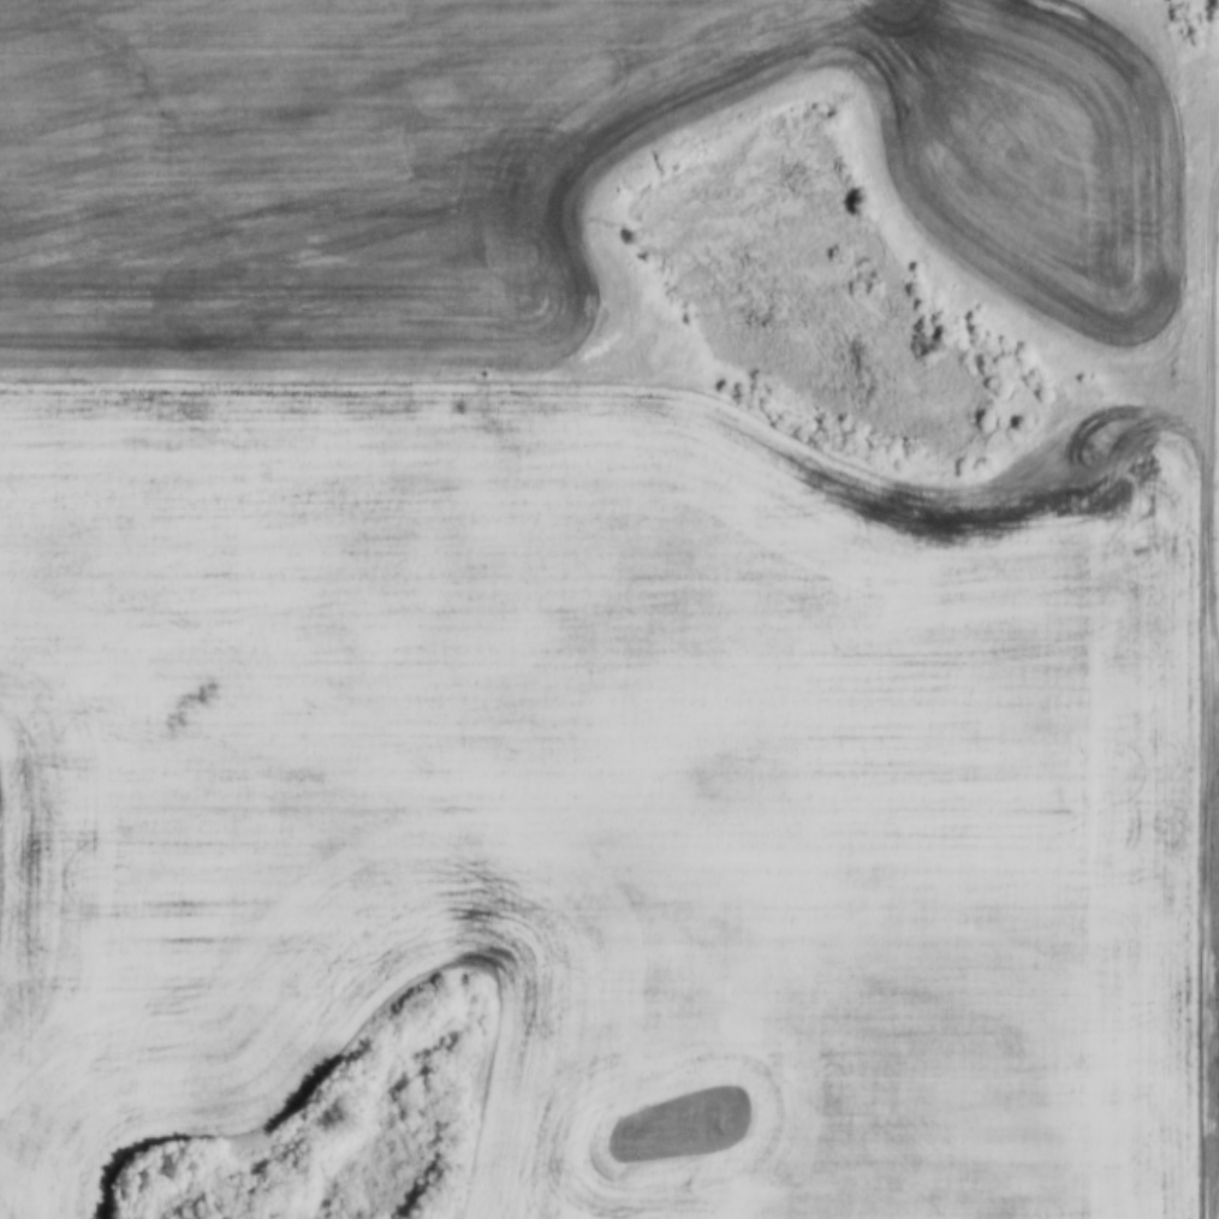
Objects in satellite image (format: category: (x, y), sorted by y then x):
road: (1208, 543)
road: (1206, 1058)

